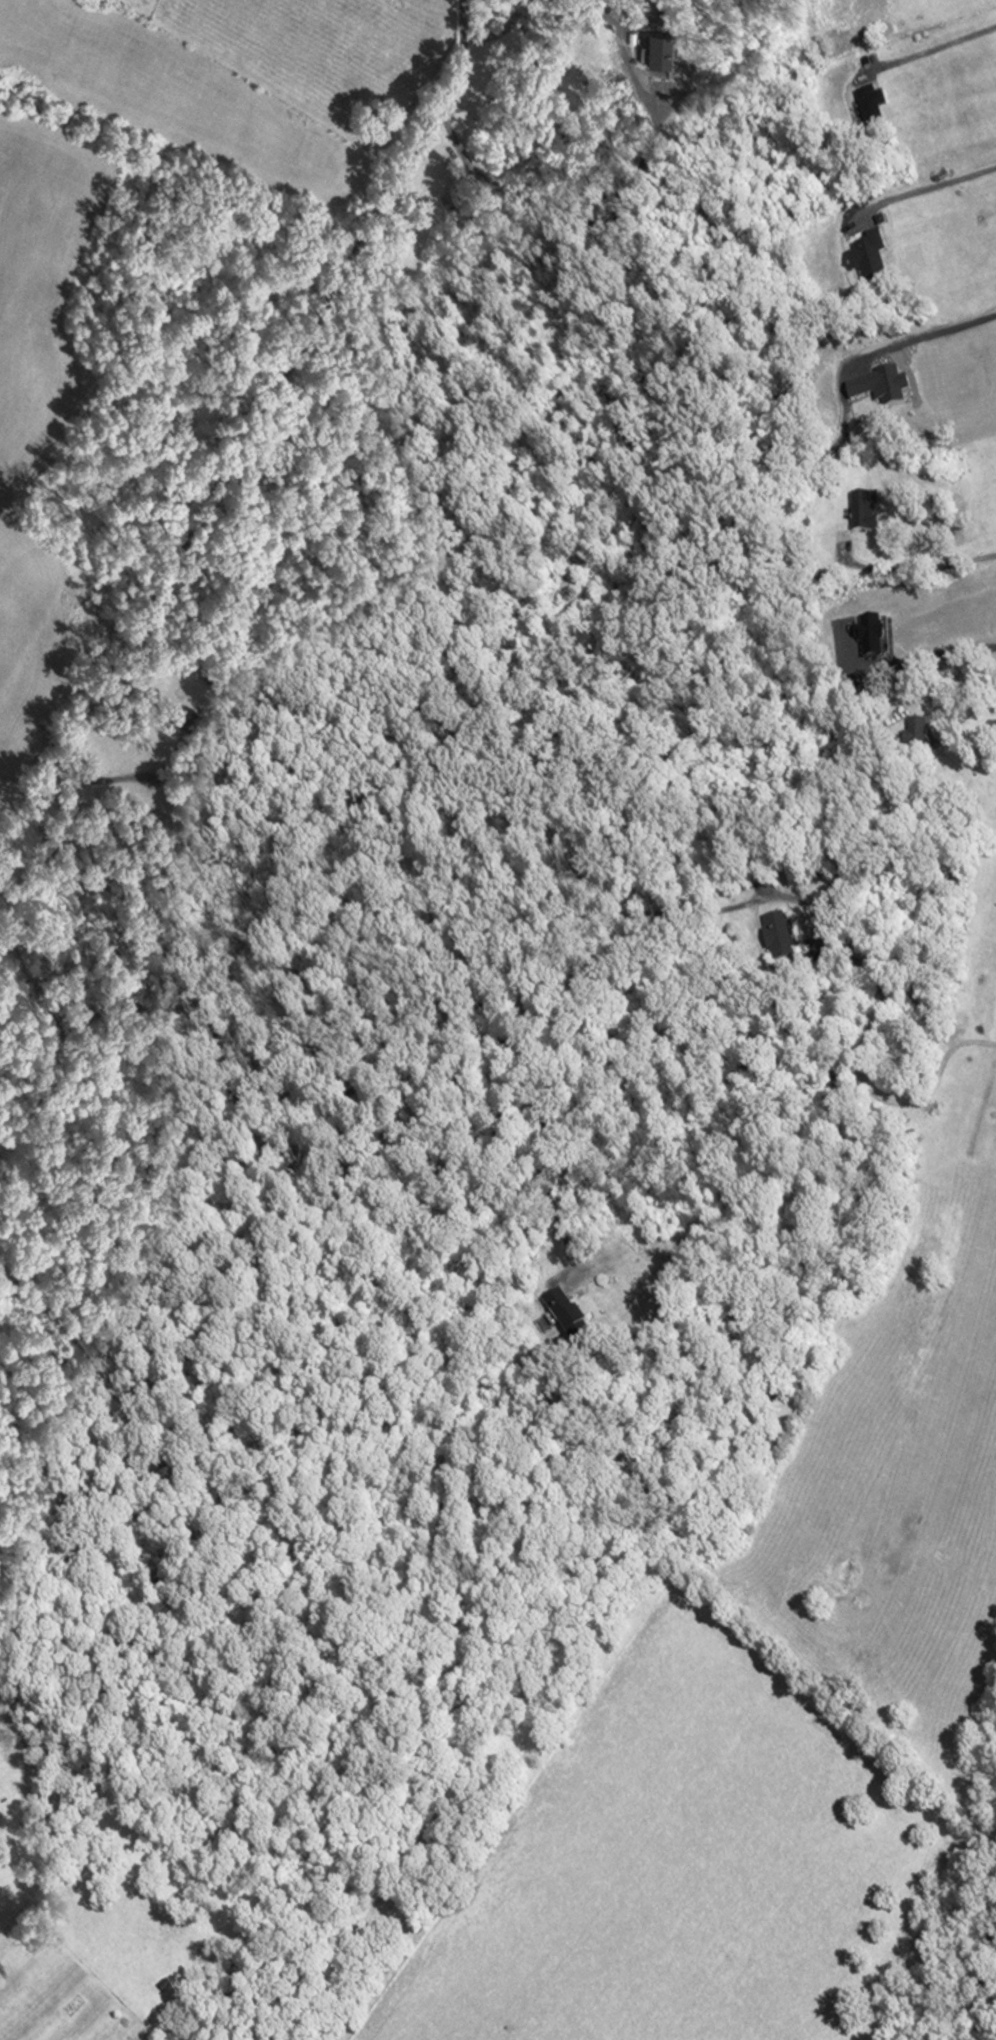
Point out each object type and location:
road: (514, 11)
road: (931, 50)
building: (866, 108)
road: (926, 190)
building: (869, 264)
road: (918, 334)
building: (859, 513)
road: (925, 573)
road: (123, 653)
road: (907, 664)
road: (970, 728)
building: (768, 934)
road: (861, 1048)
building: (558, 1312)

